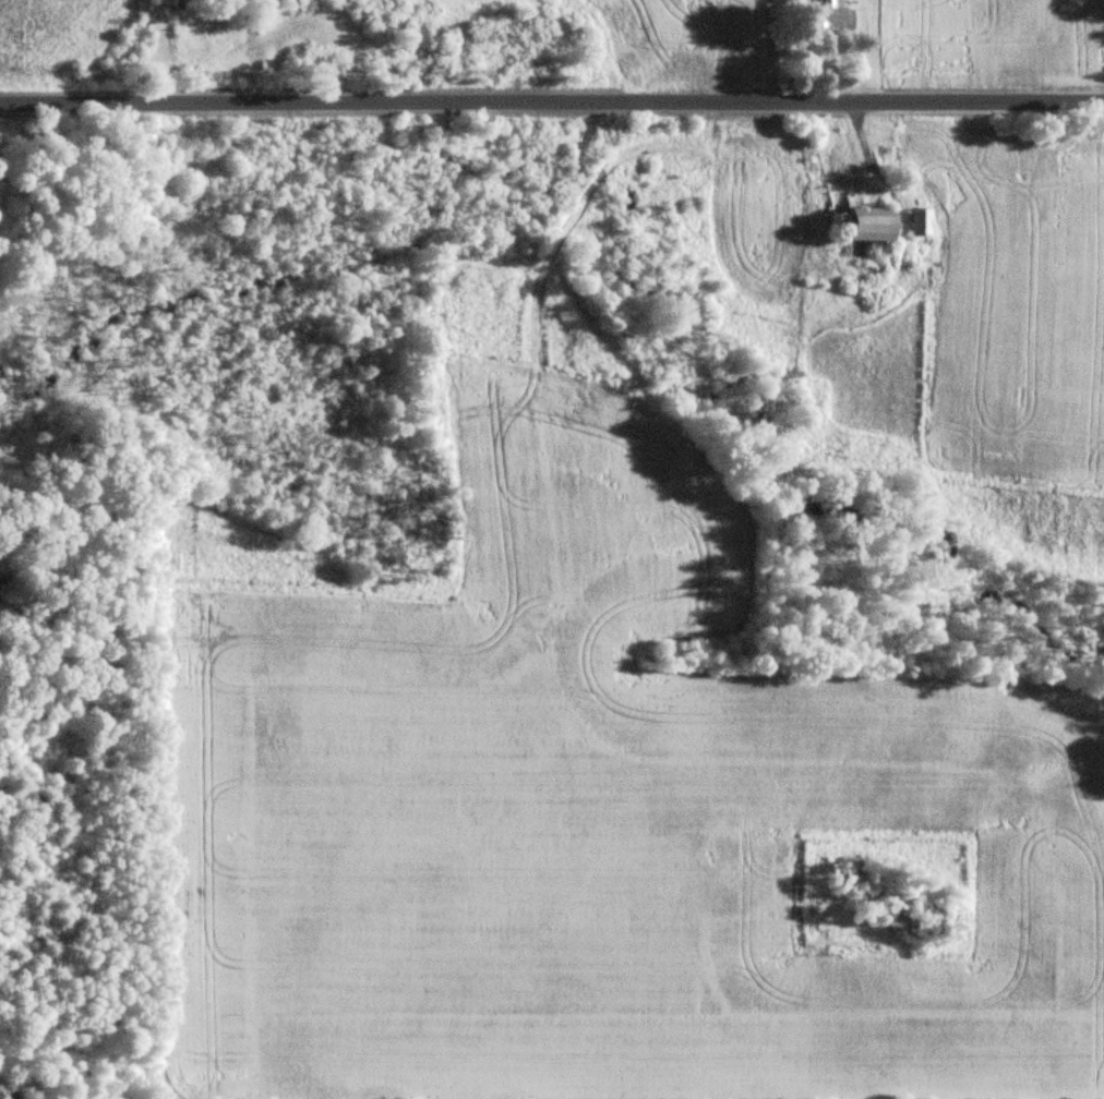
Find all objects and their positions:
building: (833, 15)
road: (551, 102)
building: (873, 224)
building: (921, 233)

